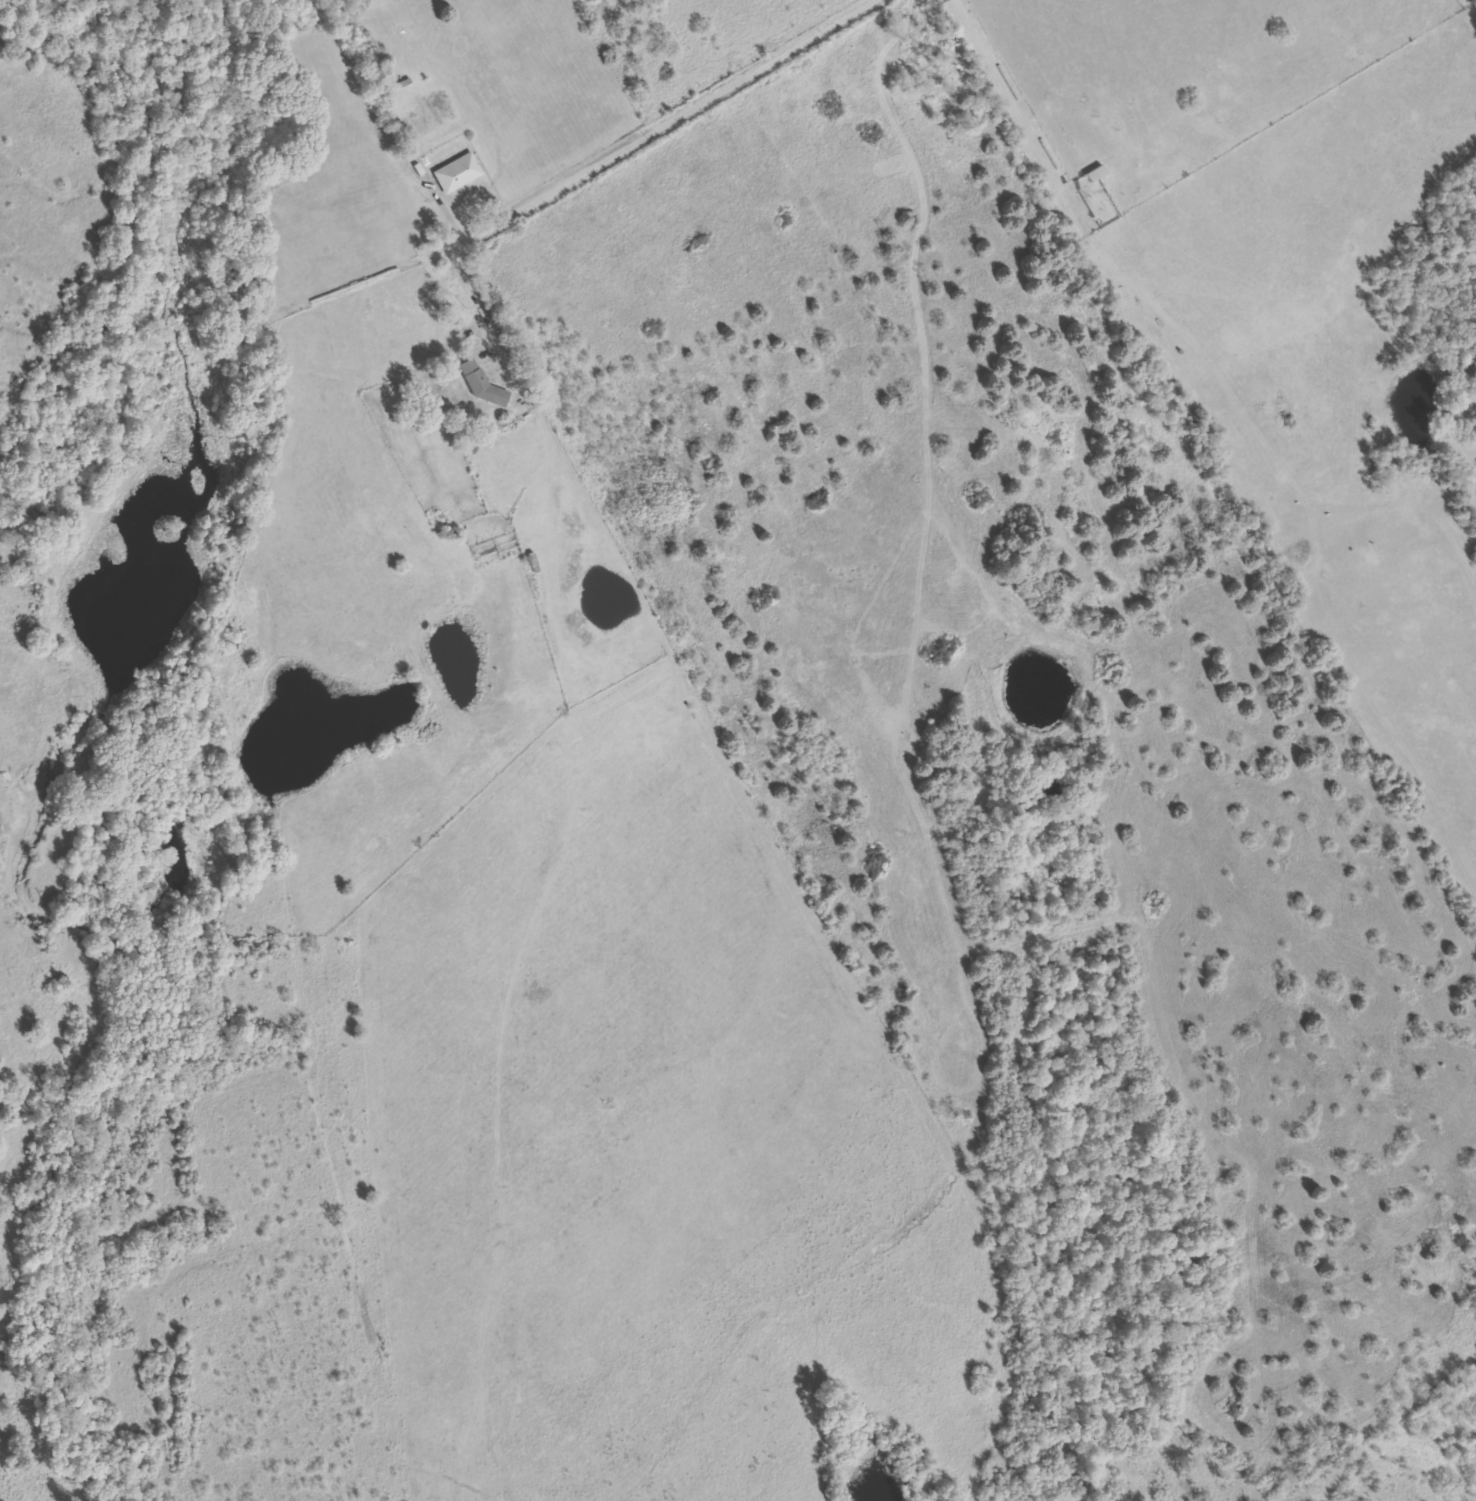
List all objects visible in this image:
road: (581, 164)
building: (1095, 173)
building: (457, 174)
building: (482, 384)

